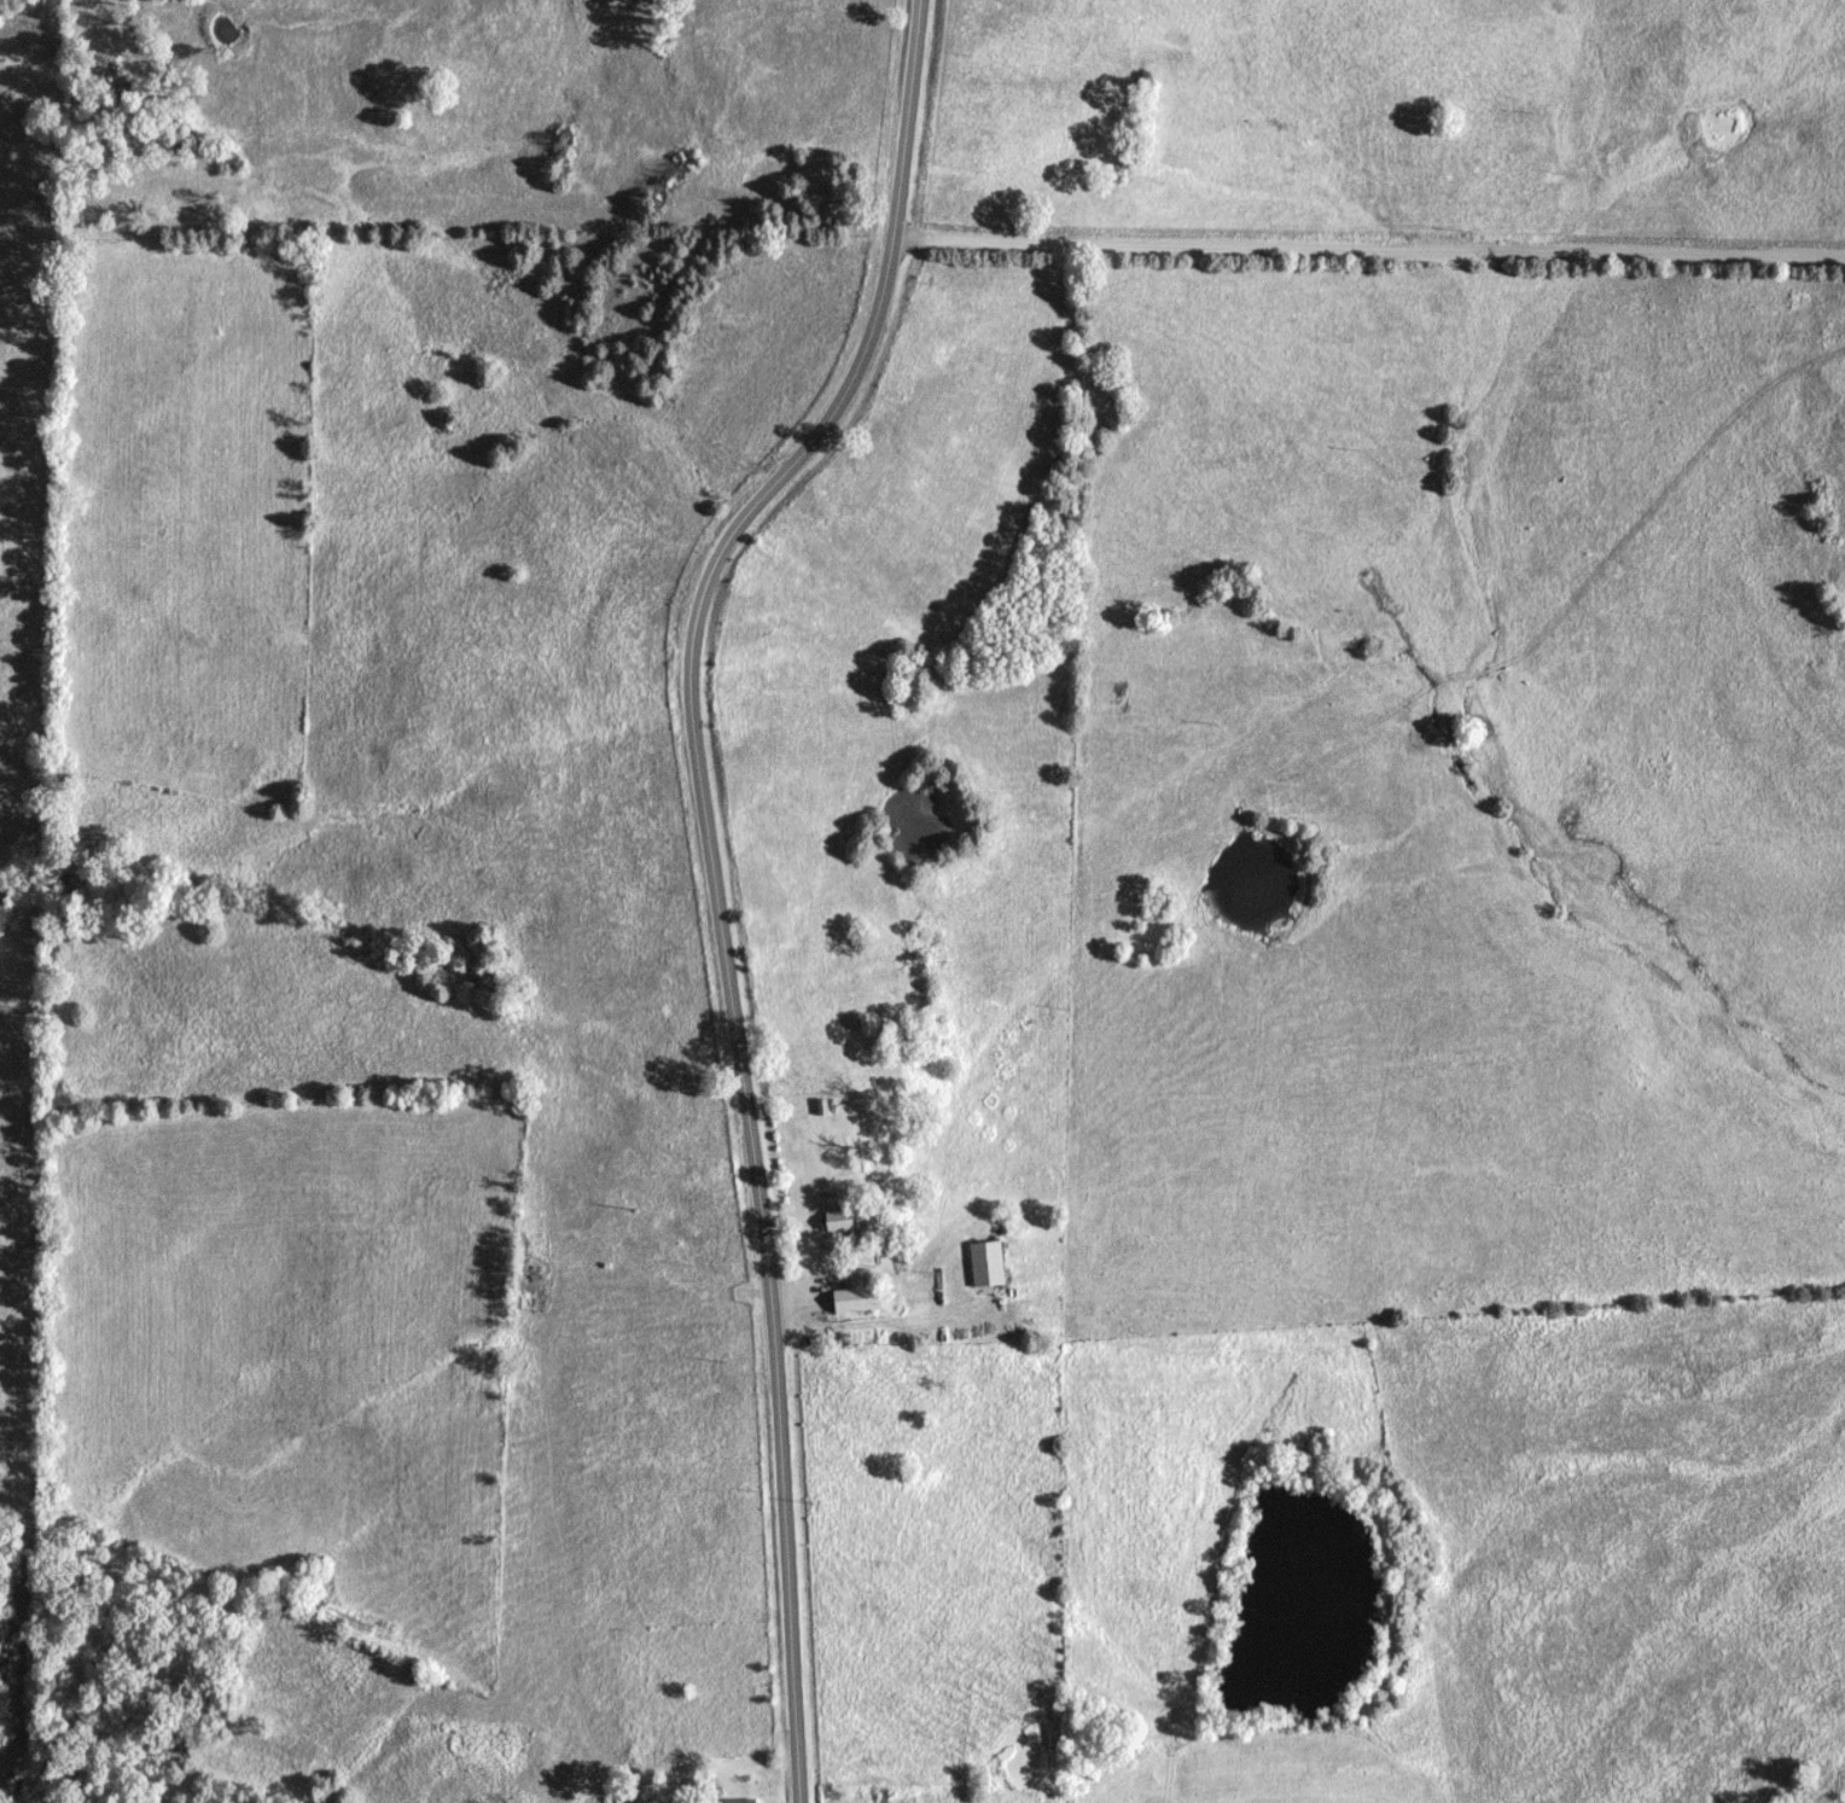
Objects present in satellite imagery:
road: (1367, 254)
road: (712, 874)
building: (840, 1220)
building: (988, 1263)
building: (856, 1292)
building: (741, 1801)

